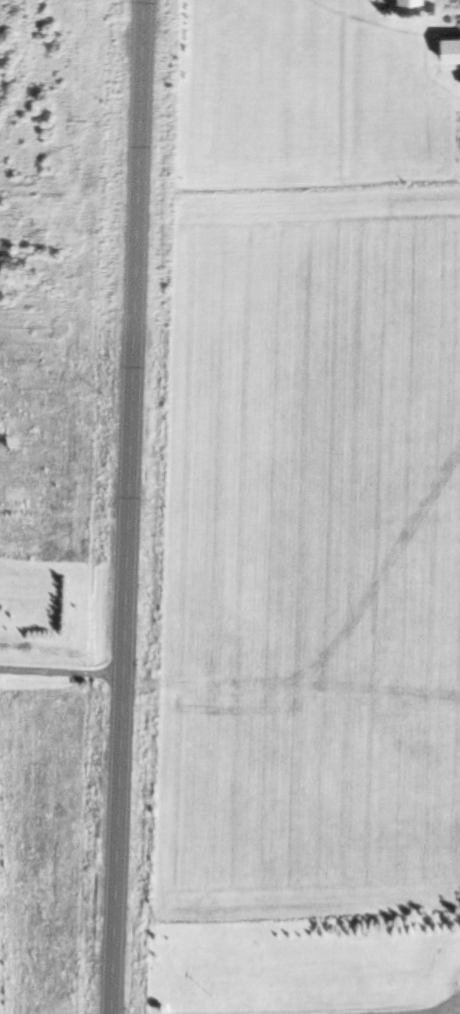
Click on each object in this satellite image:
building: (451, 45)
road: (129, 507)
road: (62, 667)

